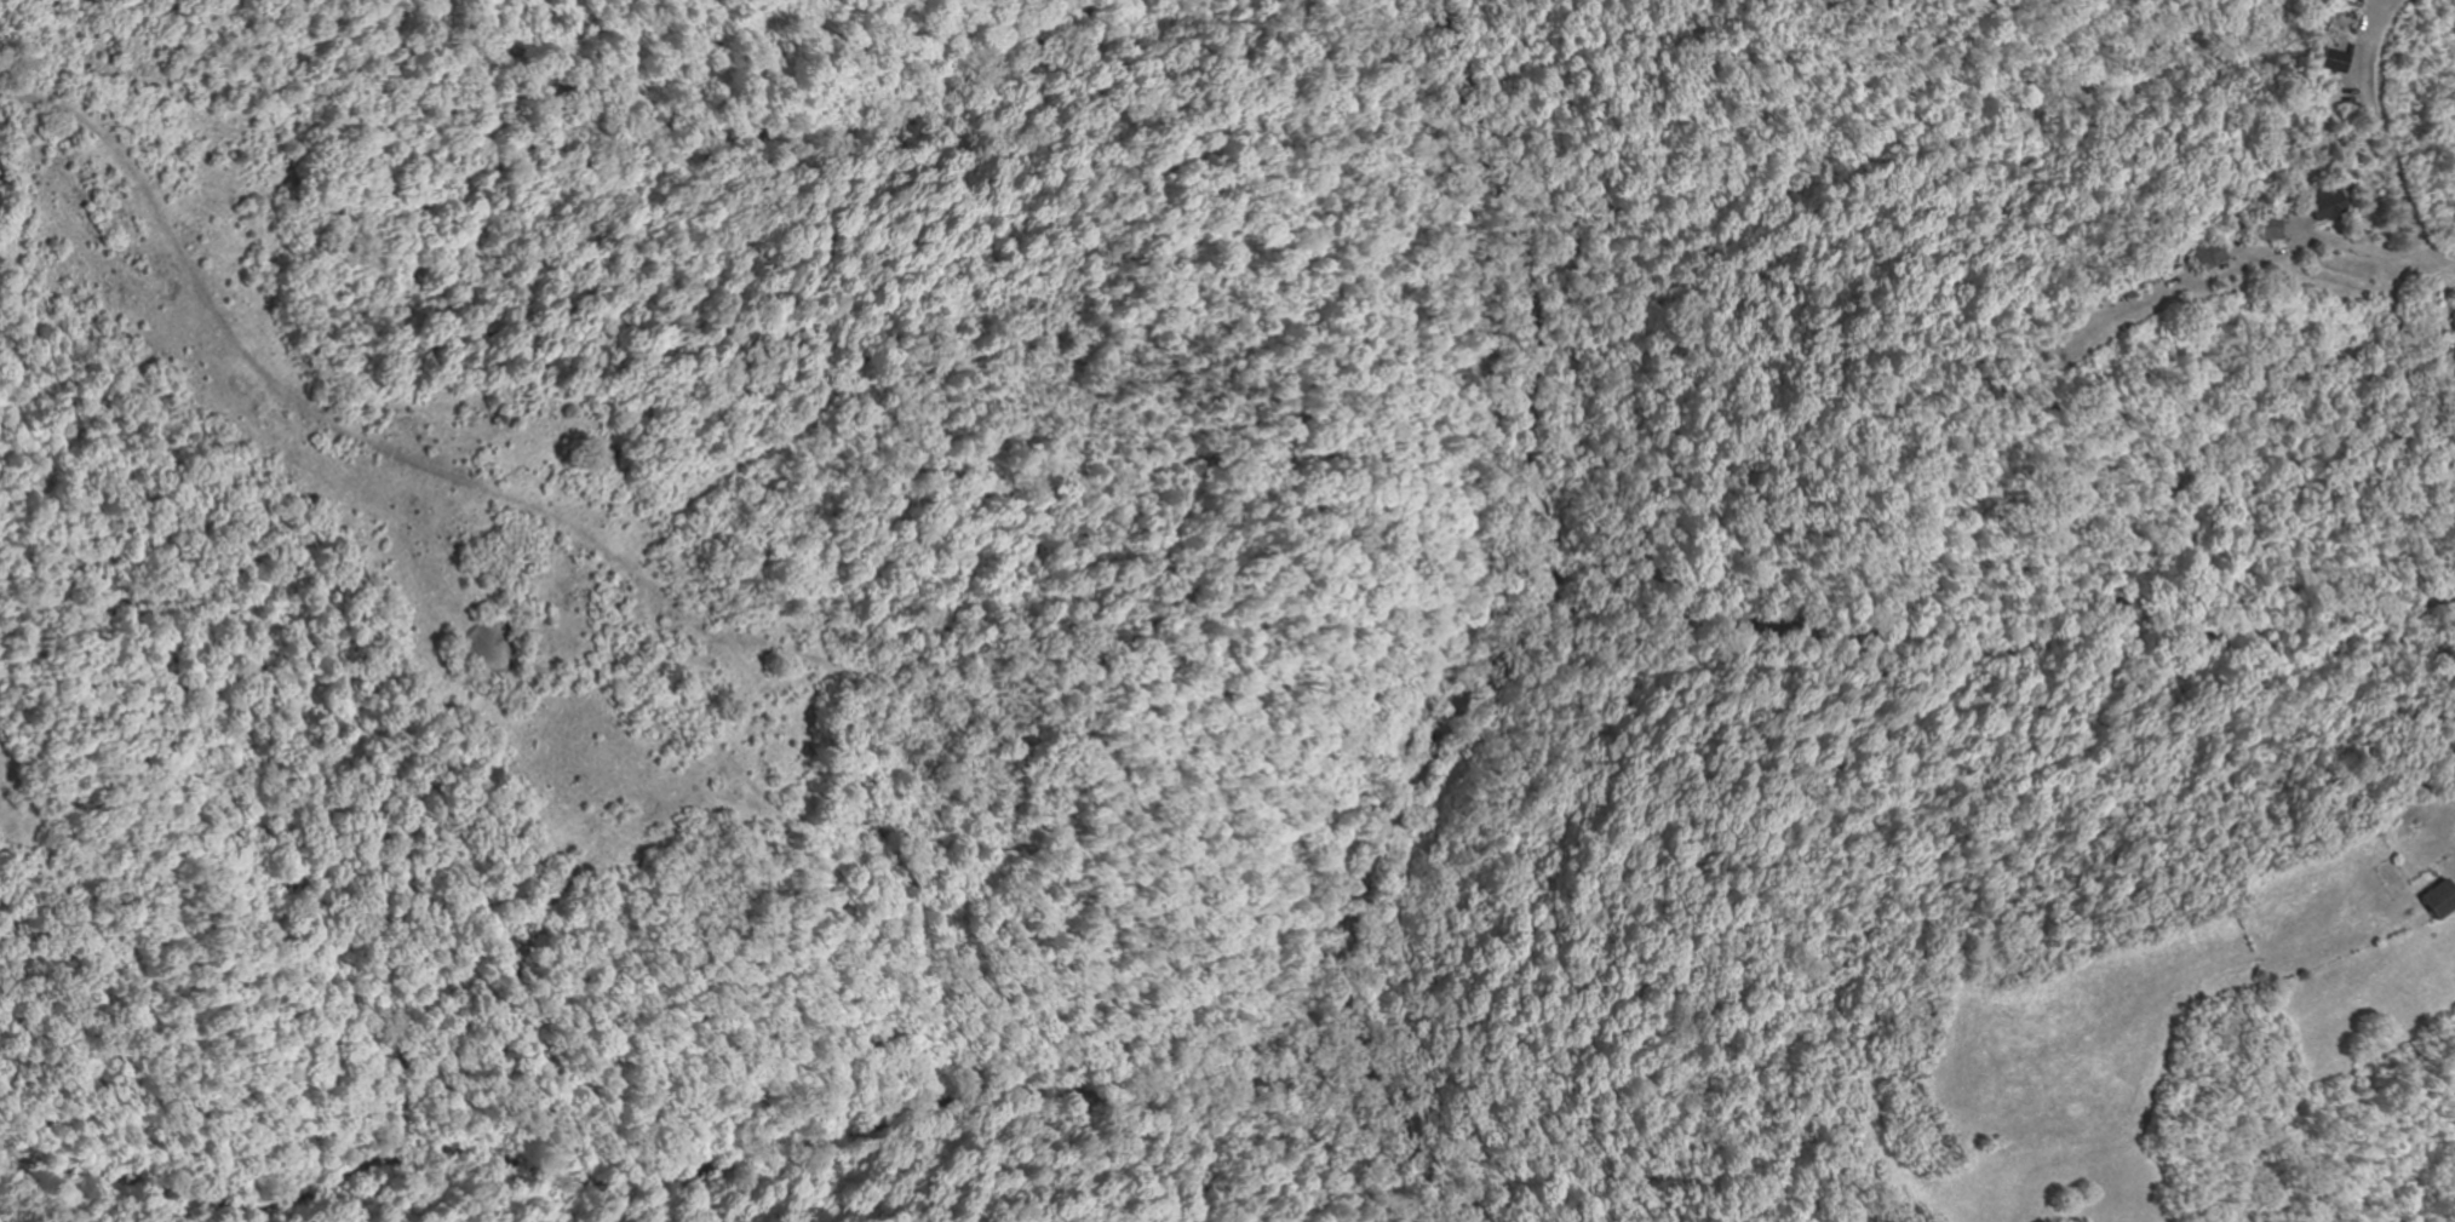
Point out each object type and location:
road: (2385, 172)

